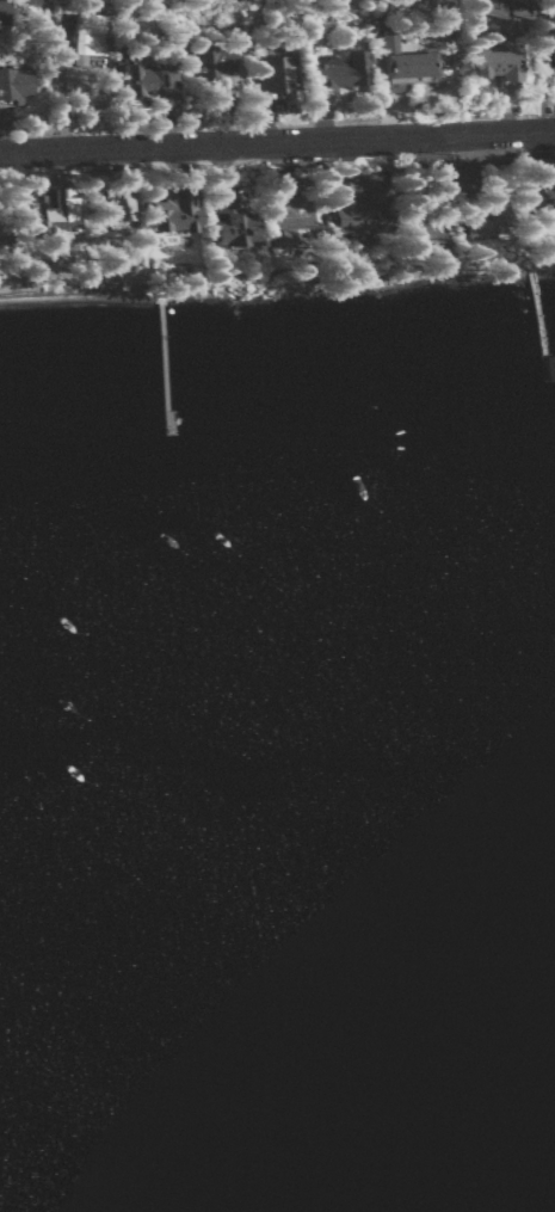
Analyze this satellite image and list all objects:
building: (508, 8)
building: (4, 13)
building: (90, 38)
building: (553, 54)
building: (215, 62)
building: (405, 66)
building: (501, 68)
building: (343, 73)
building: (278, 78)
building: (150, 81)
building: (16, 86)
road: (277, 143)
building: (469, 179)
building: (543, 184)
building: (119, 208)
building: (360, 208)
building: (56, 210)
building: (177, 211)
building: (295, 221)
building: (235, 222)
building: (5, 232)
pier: (534, 327)
pier: (159, 362)

